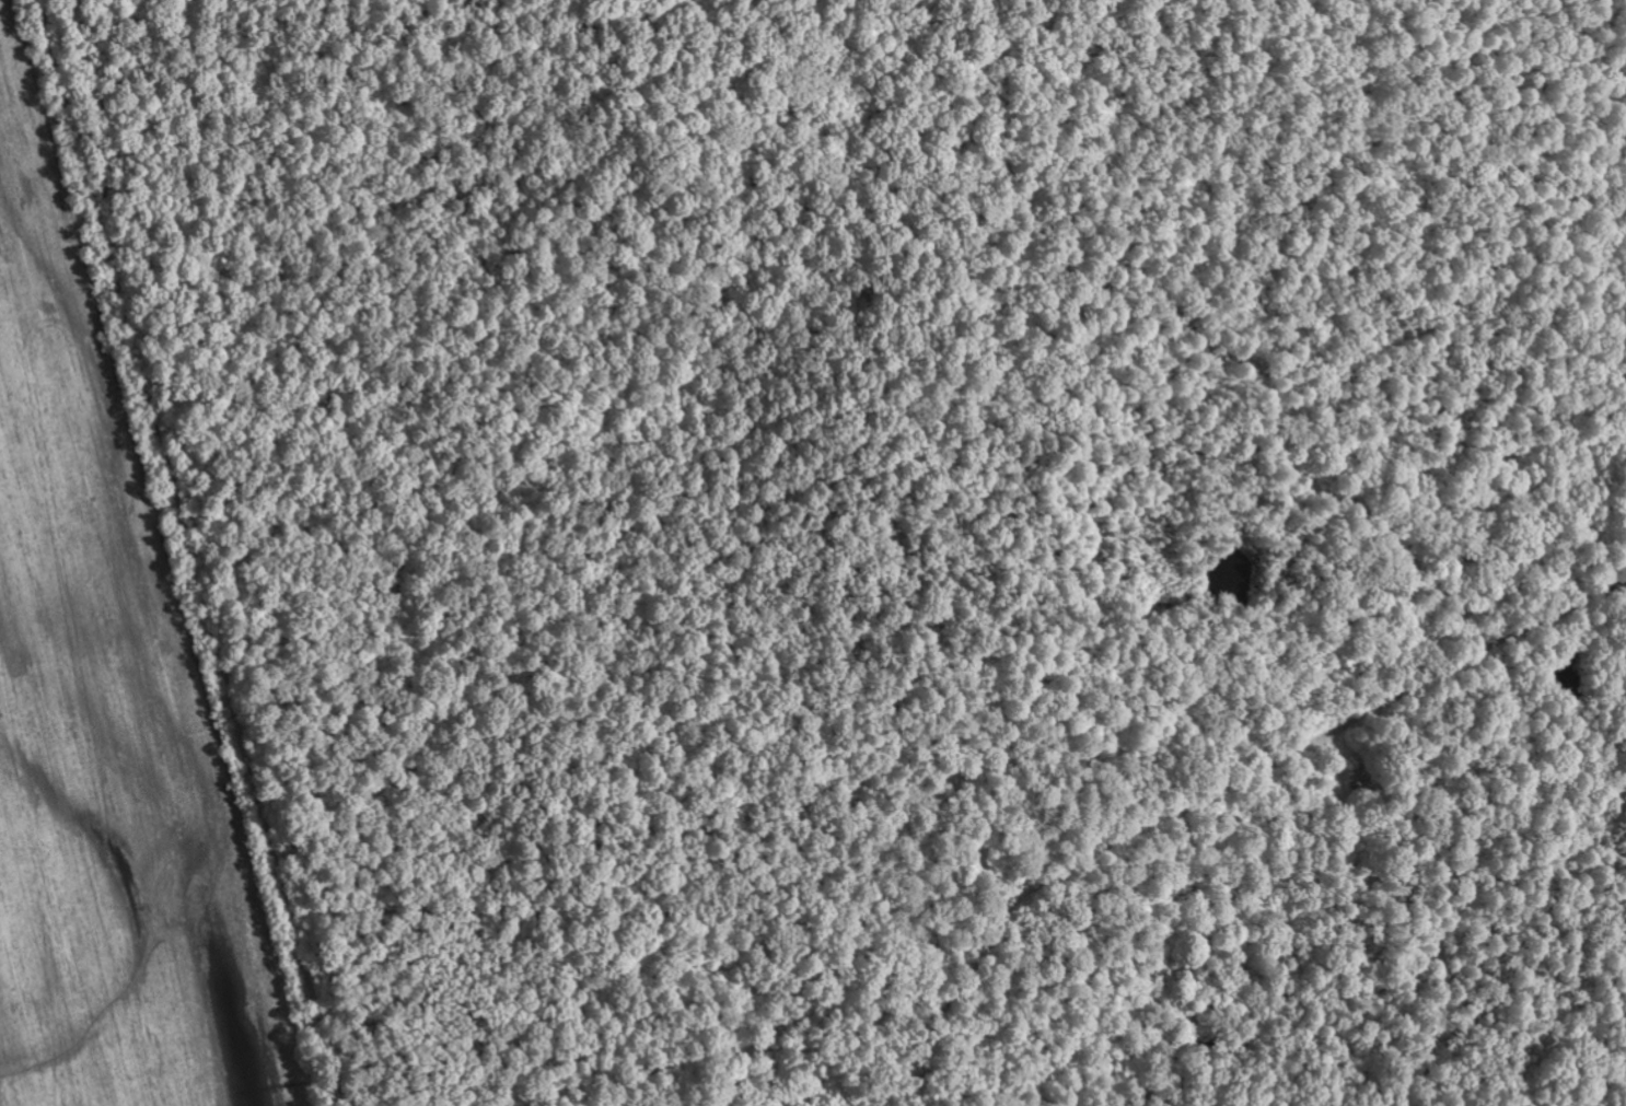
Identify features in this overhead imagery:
road: (1522, 333)
road: (805, 438)
road: (1166, 762)

